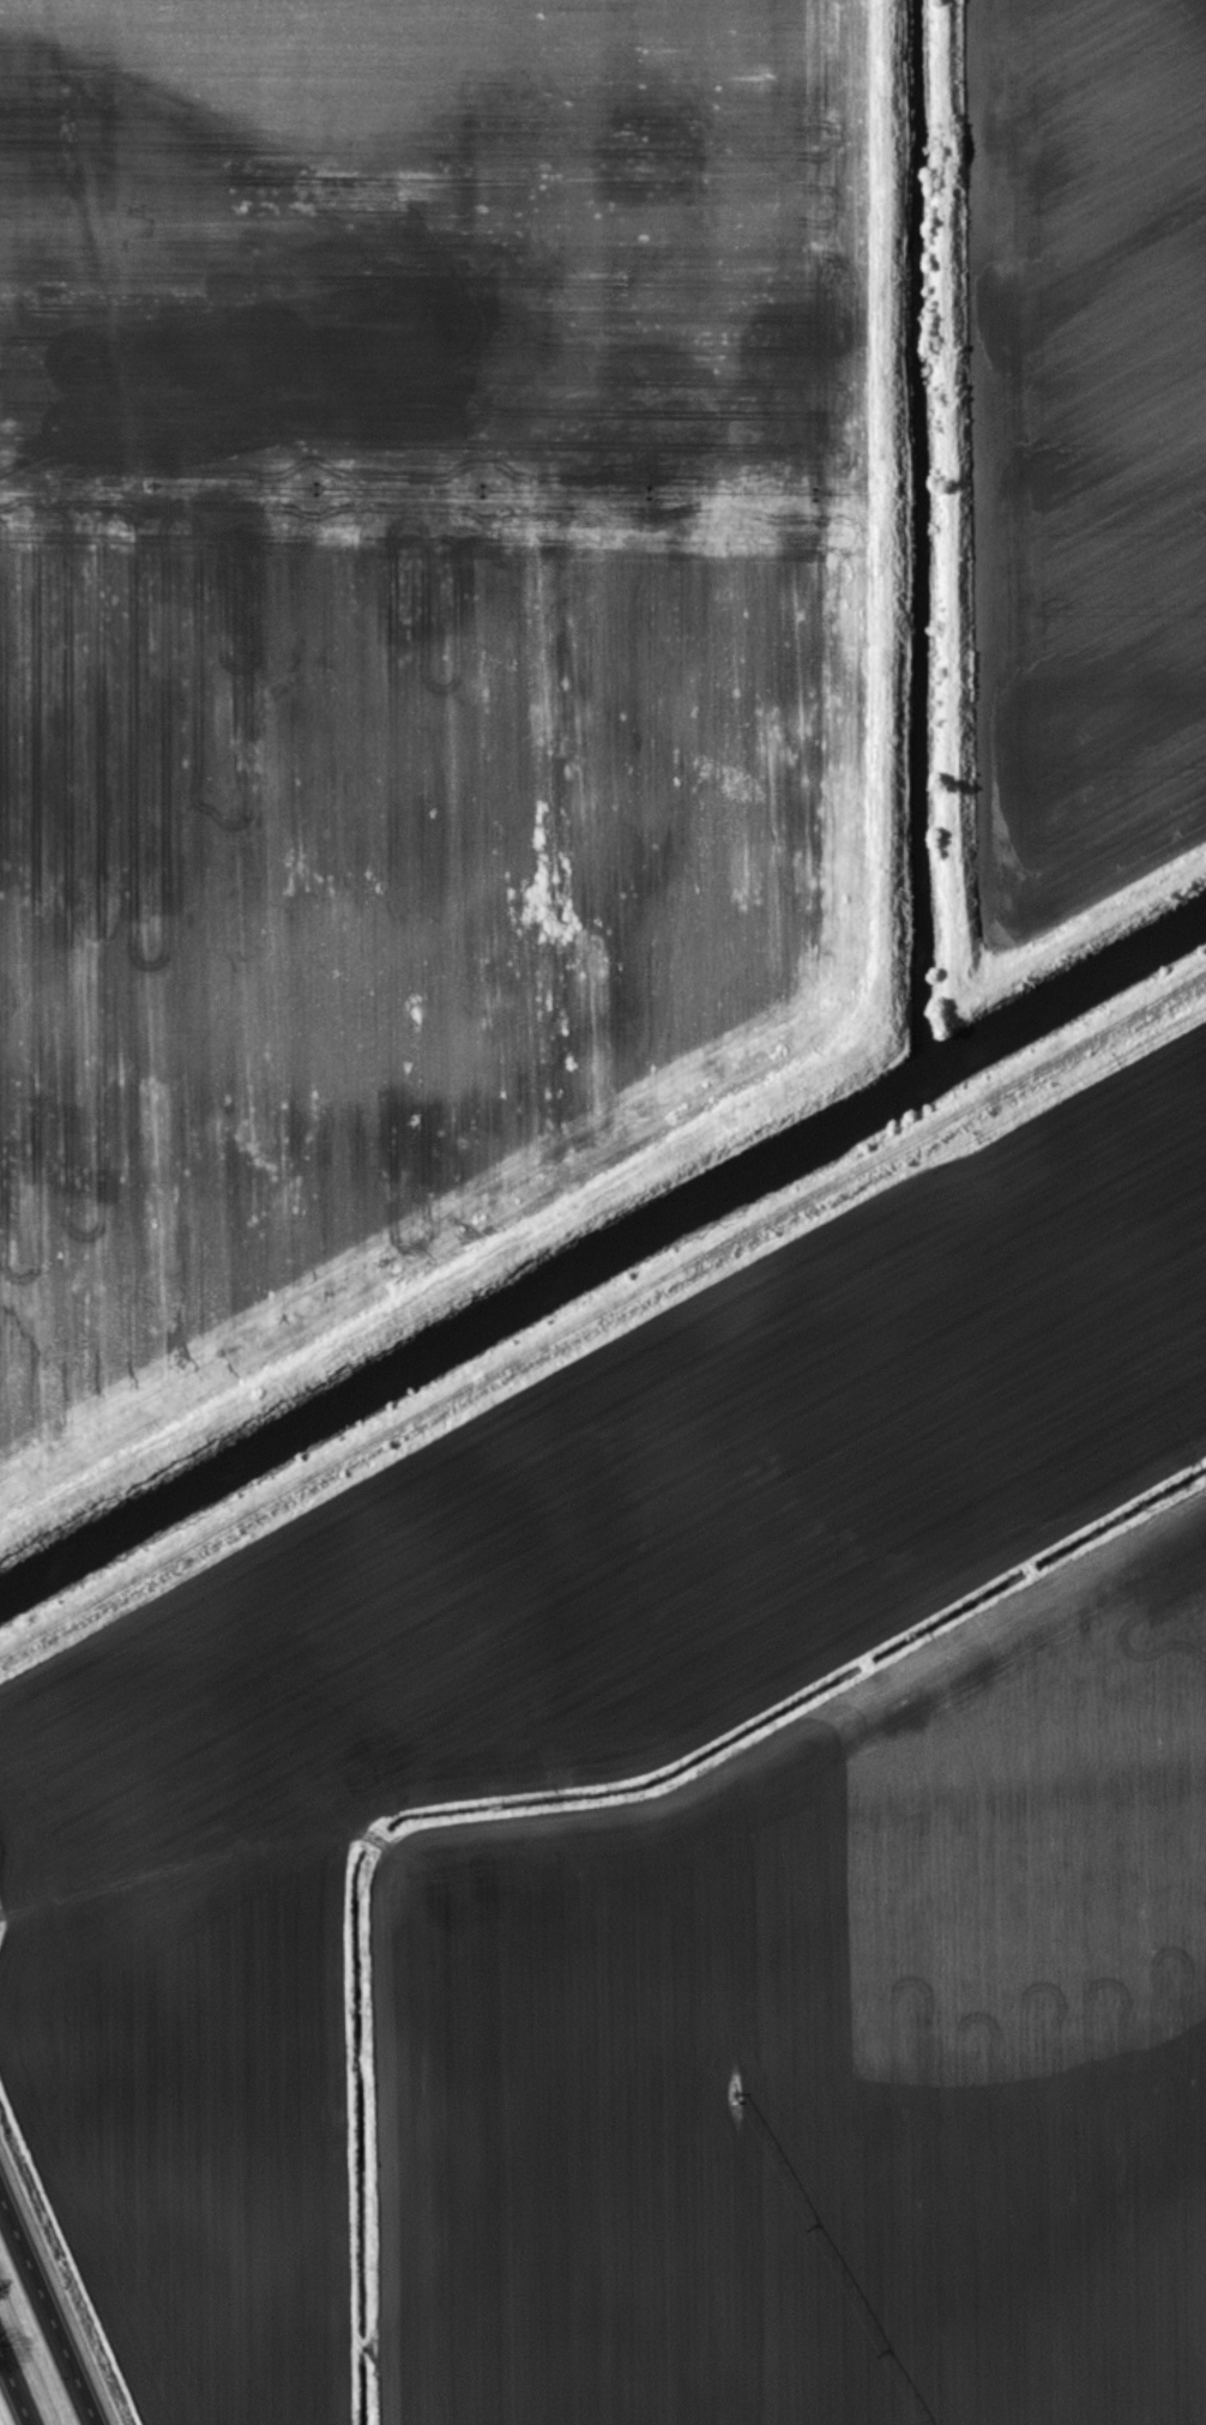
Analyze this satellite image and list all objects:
road: (48, 2308)
road: (16, 2387)

